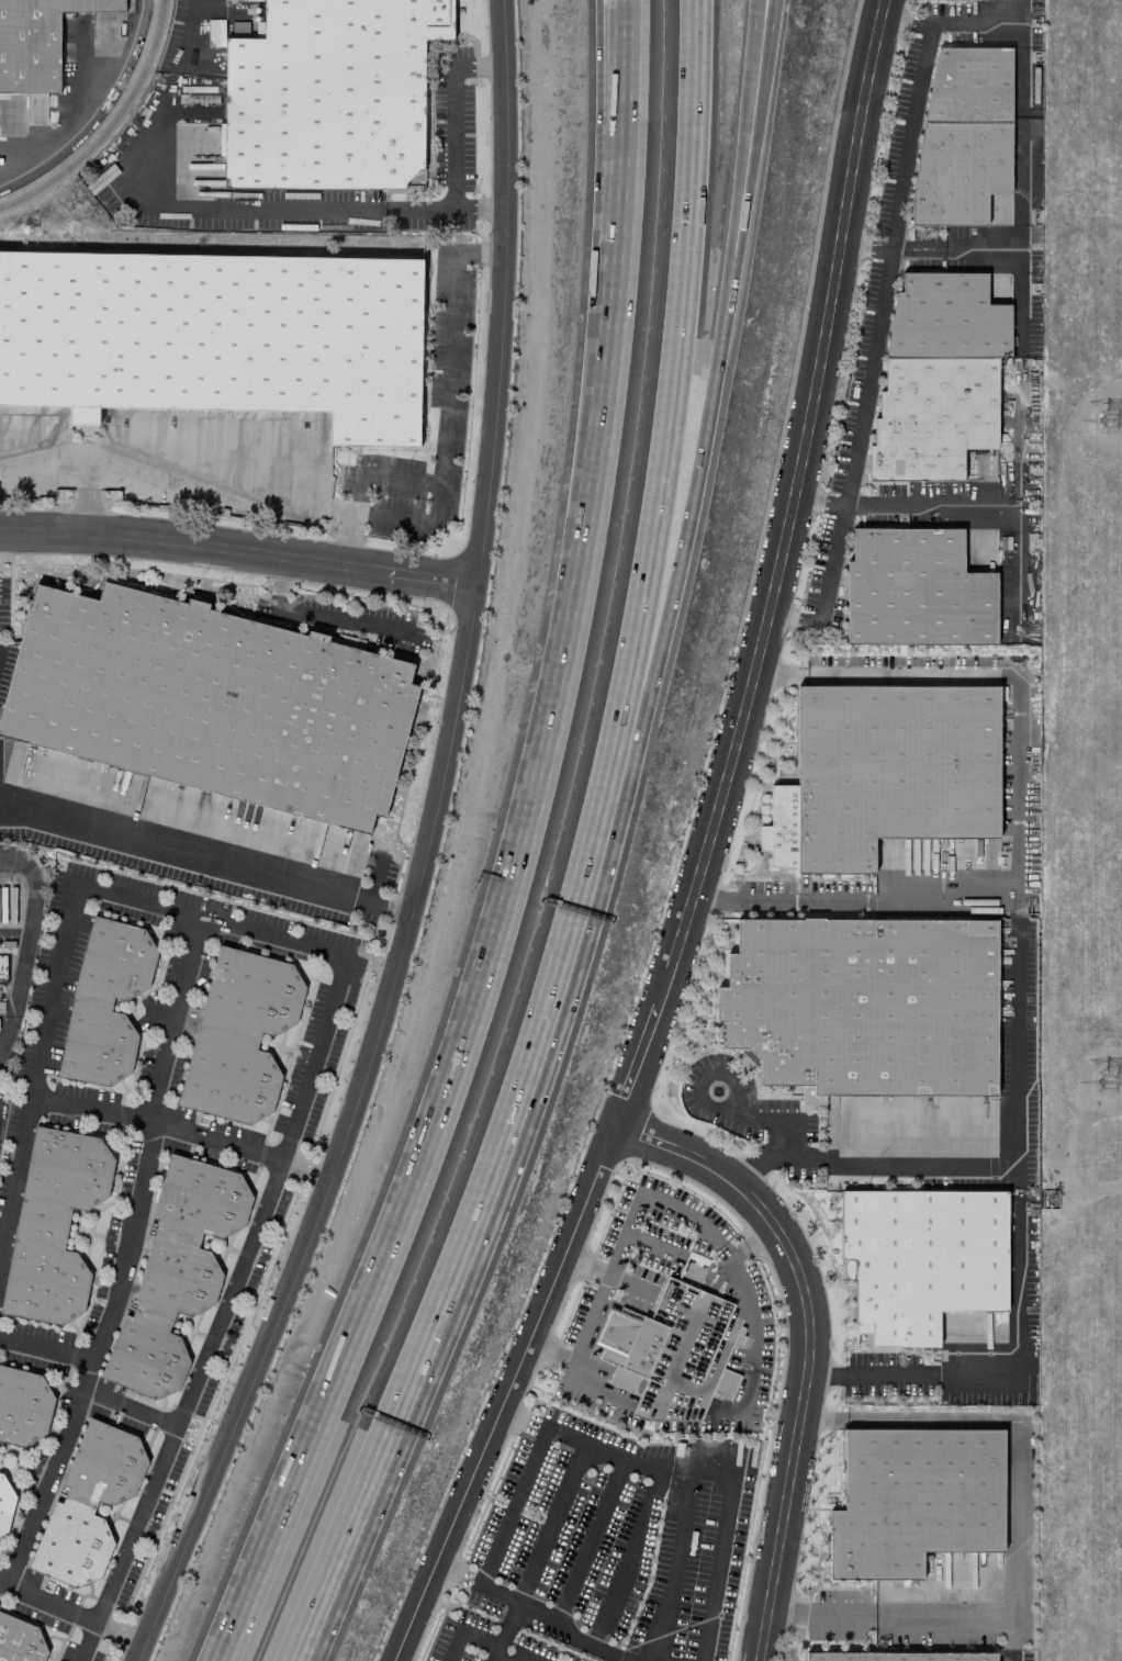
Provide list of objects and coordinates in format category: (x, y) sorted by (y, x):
road: (973, 22)
building: (214, 32)
building: (36, 41)
road: (758, 47)
road: (763, 47)
road: (1019, 52)
building: (330, 92)
road: (93, 106)
road: (607, 106)
road: (620, 106)
road: (912, 112)
road: (451, 113)
railway: (111, 127)
building: (963, 136)
road: (215, 206)
road: (1018, 226)
road: (891, 248)
road: (613, 271)
road: (725, 295)
building: (217, 335)
building: (938, 377)
road: (664, 402)
road: (862, 402)
power tower: (1113, 422)
road: (444, 429)
road: (43, 456)
road: (145, 459)
road: (378, 474)
road: (987, 513)
road: (238, 548)
road: (778, 569)
road: (1017, 577)
building: (915, 591)
road: (308, 613)
road: (647, 649)
road: (995, 675)
building: (211, 703)
building: (882, 773)
road: (420, 852)
road: (204, 853)
road: (510, 855)
road: (26, 942)
road: (1018, 997)
road: (332, 1000)
building: (104, 1002)
building: (864, 1003)
building: (238, 1035)
power tower: (1109, 1086)
fountain: (715, 1089)
road: (702, 1103)
road: (181, 1124)
road: (777, 1137)
road: (643, 1198)
building: (53, 1225)
road: (459, 1236)
road: (123, 1254)
building: (919, 1257)
building: (175, 1273)
road: (590, 1316)
road: (47, 1344)
road: (810, 1345)
building: (672, 1353)
road: (1014, 1372)
road: (507, 1393)
road: (741, 1401)
building: (22, 1406)
road: (127, 1407)
road: (655, 1460)
road: (565, 1482)
road: (1017, 1485)
building: (913, 1497)
building: (4, 1503)
building: (88, 1504)
road: (277, 1512)
road: (714, 1568)
road: (70, 1609)
road: (532, 1611)
road: (820, 1615)
road: (498, 1635)
road: (1009, 1638)
building: (20, 1640)
road: (489, 1657)
building: (898, 1657)

